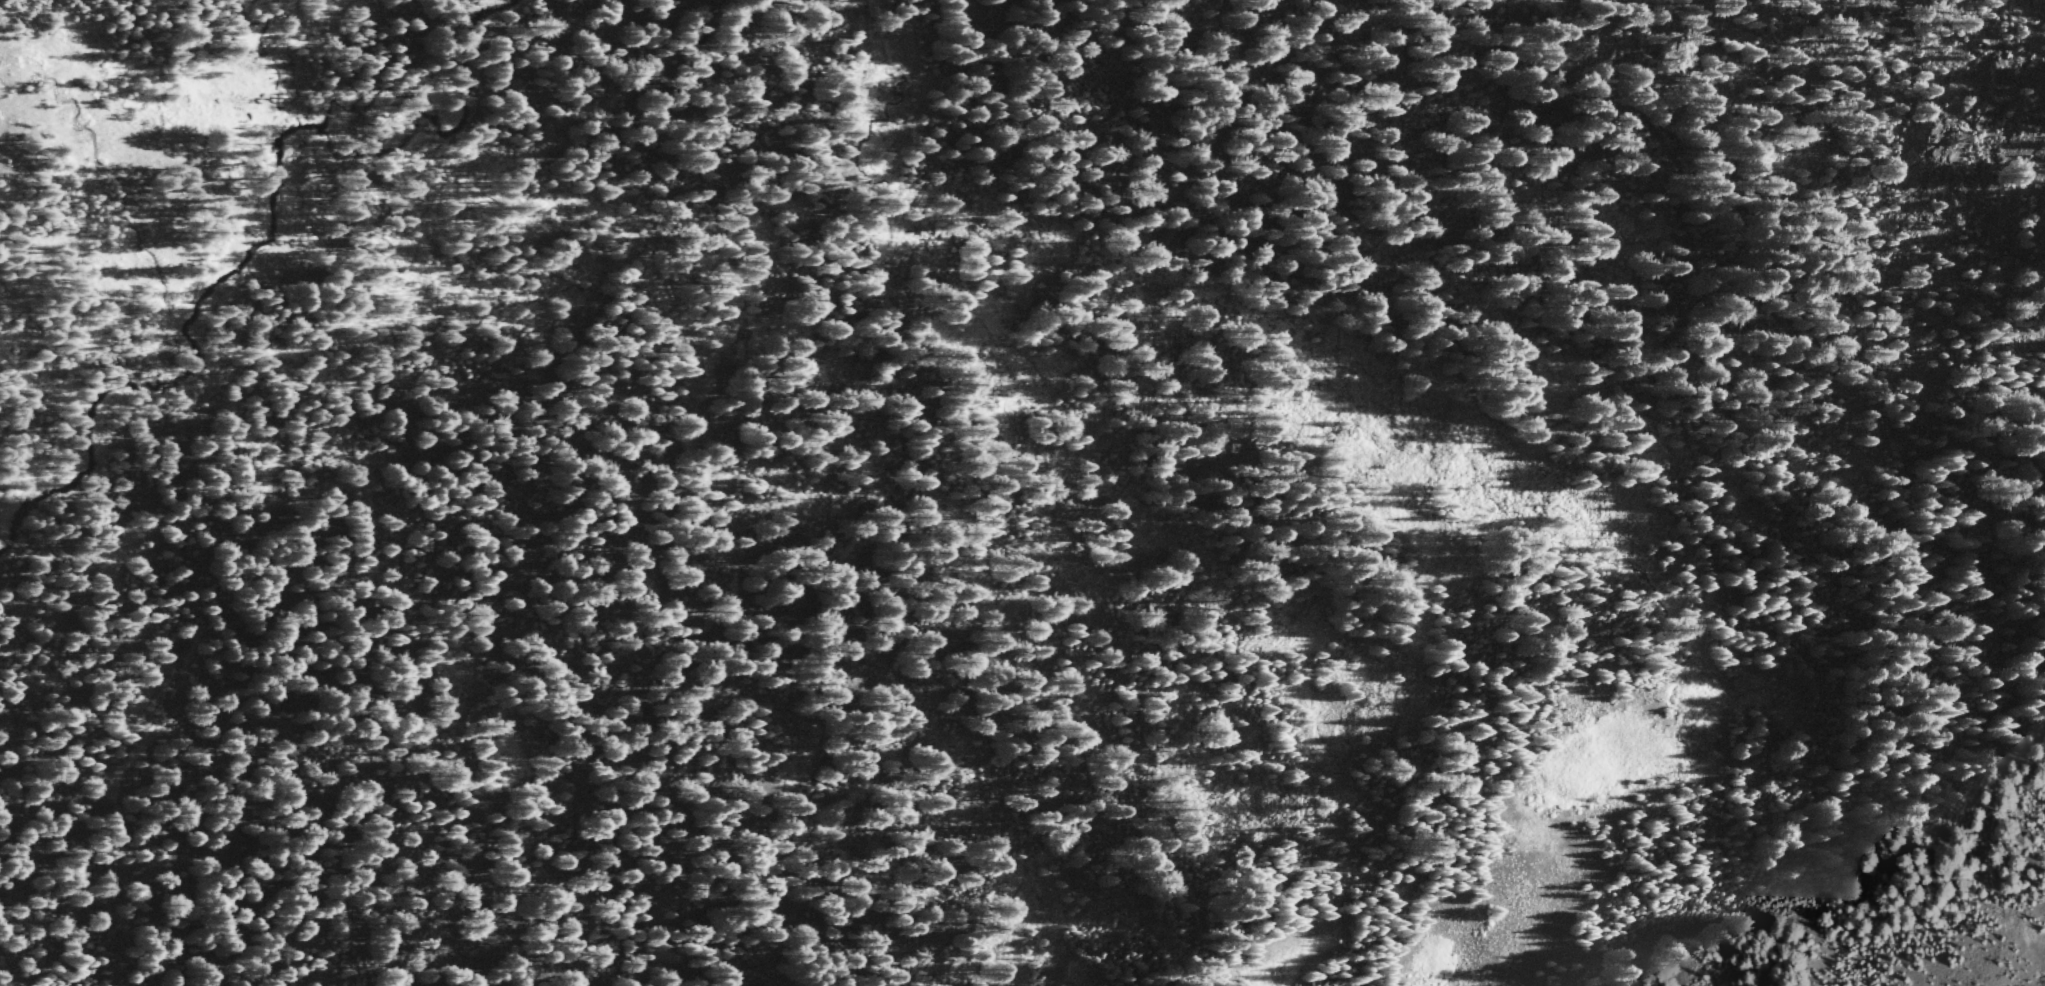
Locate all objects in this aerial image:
road: (611, 232)
road: (663, 541)
road: (1429, 787)

